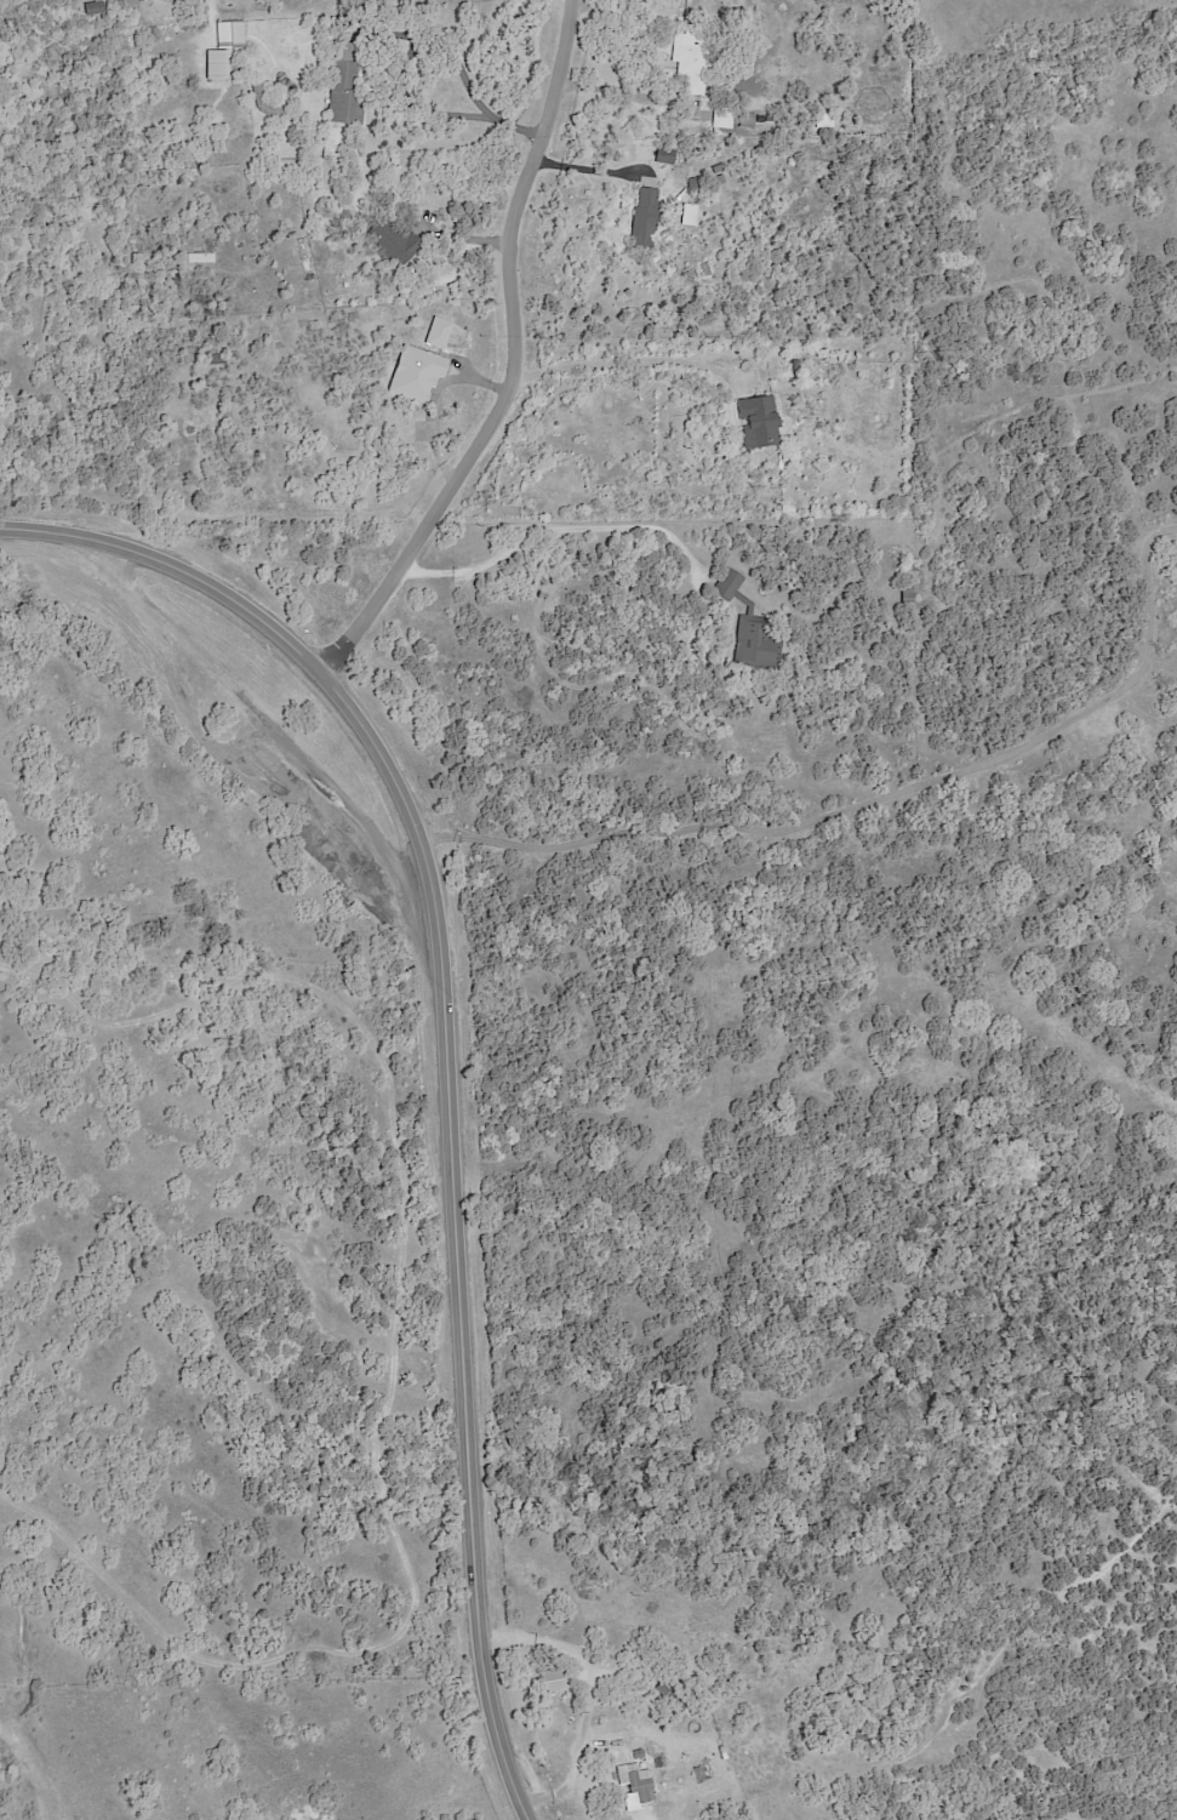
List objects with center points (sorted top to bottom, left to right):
building: (813, 5)
building: (95, 8)
building: (813, 12)
building: (8, 19)
building: (230, 34)
building: (692, 59)
building: (216, 63)
building: (257, 89)
building: (348, 89)
building: (725, 116)
building: (748, 120)
building: (824, 120)
building: (204, 162)
building: (645, 218)
building: (396, 241)
building: (205, 257)
building: (315, 272)
building: (644, 290)
building: (447, 335)
building: (825, 349)
building: (838, 352)
building: (219, 359)
road: (513, 360)
road: (607, 361)
building: (795, 364)
building: (419, 373)
building: (760, 422)
road: (547, 525)
building: (908, 597)
building: (754, 629)
road: (873, 798)
road: (447, 1051)
building: (753, 1654)
building: (767, 1674)
building: (785, 1676)
building: (552, 1679)
road: (592, 1695)
building: (670, 1695)
building: (692, 1752)
building: (635, 1786)

